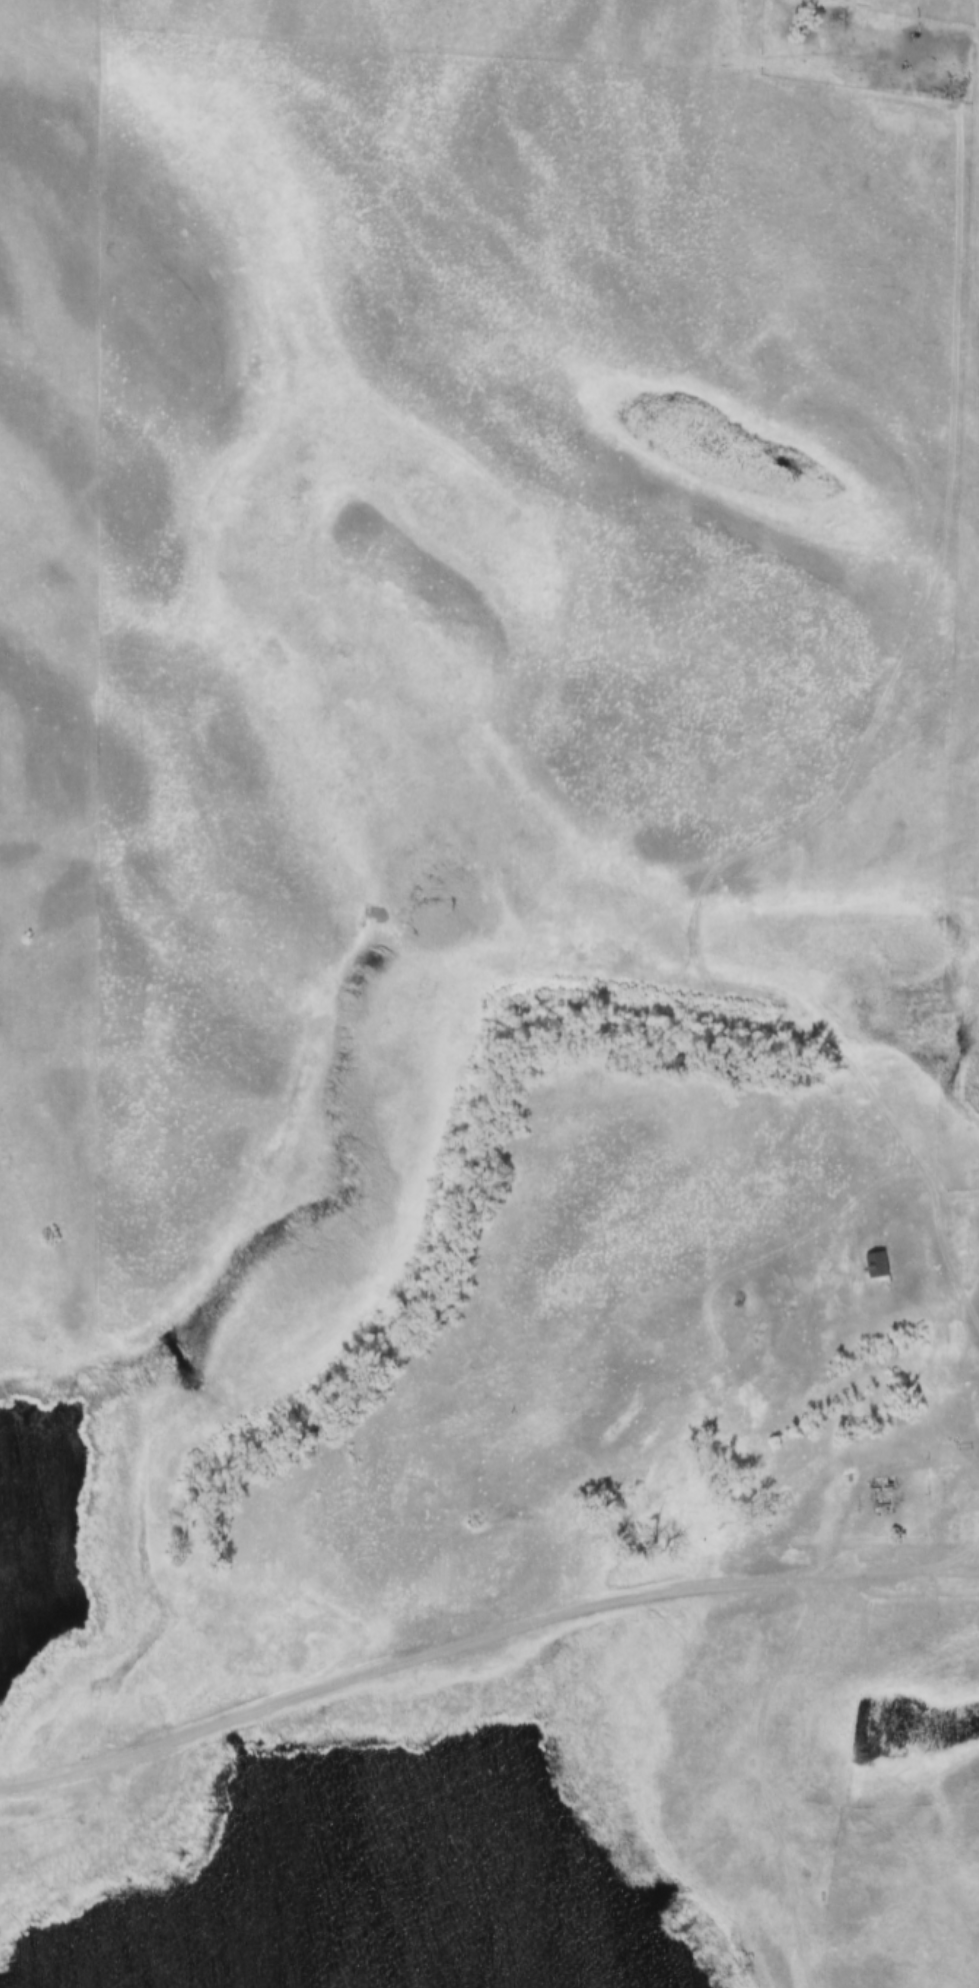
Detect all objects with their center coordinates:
building: (879, 1264)
road: (944, 1269)
building: (882, 1494)
road: (968, 1562)
road: (968, 1575)
road: (470, 1642)

